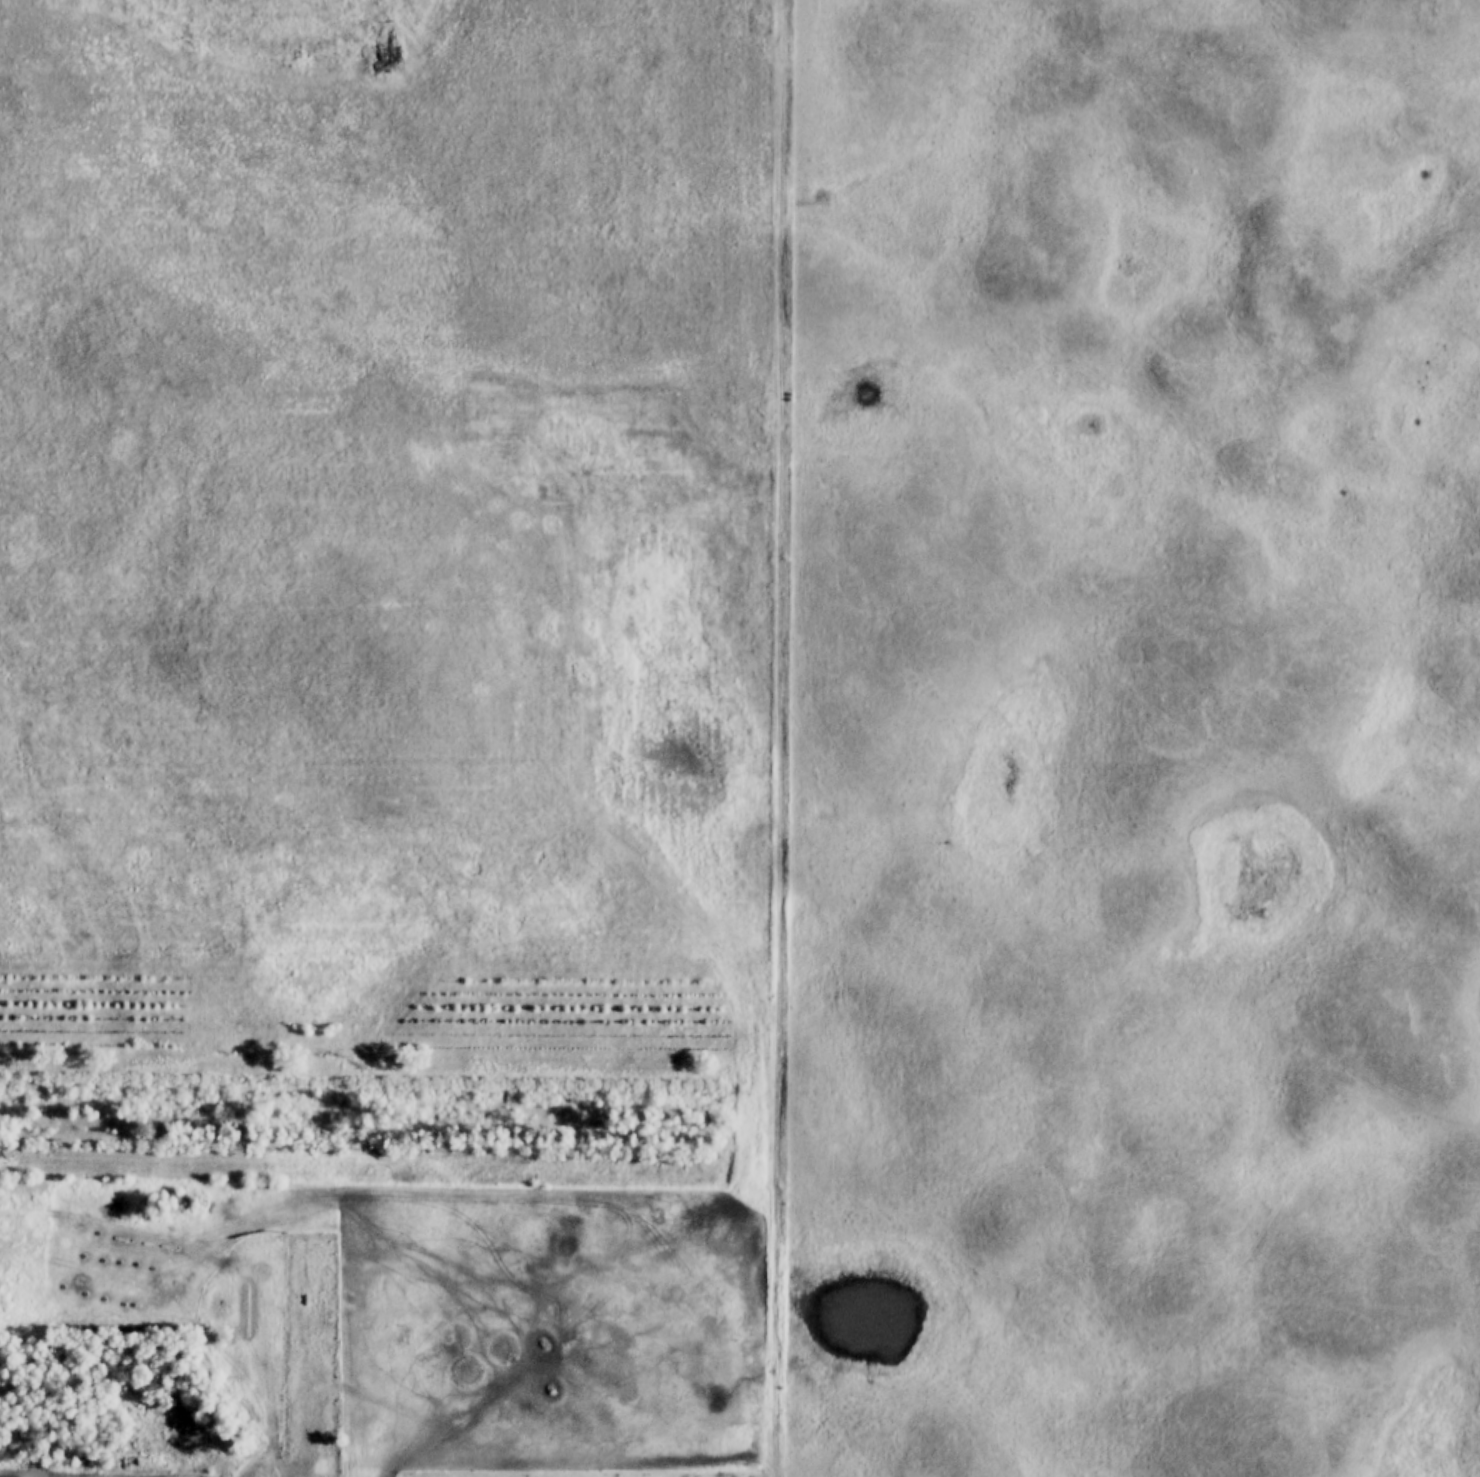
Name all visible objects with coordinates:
road: (782, 738)

